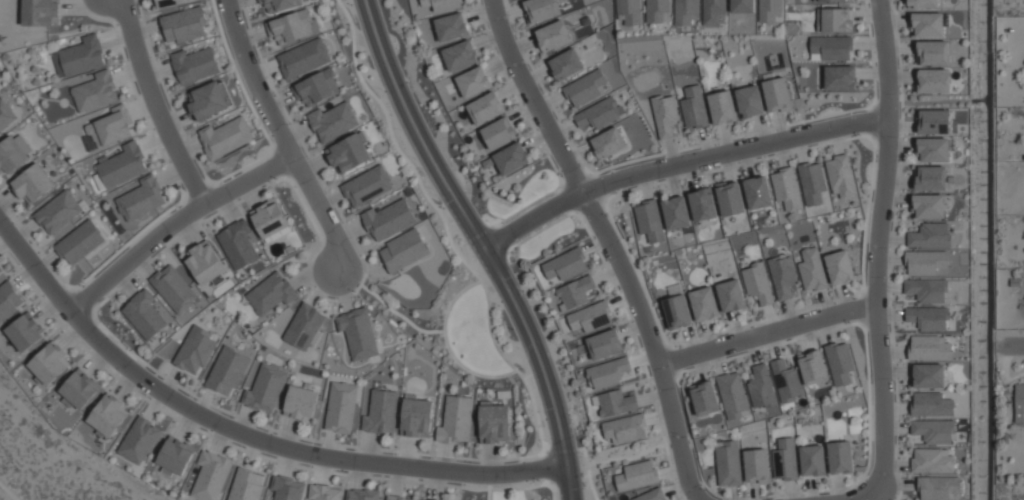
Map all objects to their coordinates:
building: (833, 0)
building: (171, 3)
building: (922, 3)
building: (280, 4)
building: (442, 4)
building: (742, 6)
building: (541, 9)
building: (656, 10)
building: (770, 10)
building: (631, 11)
building: (42, 12)
building: (685, 12)
building: (712, 12)
building: (834, 20)
building: (185, 24)
building: (927, 24)
building: (294, 26)
building: (450, 27)
building: (552, 36)
building: (830, 48)
building: (933, 52)
building: (459, 55)
building: (80, 56)
building: (304, 58)
road: (887, 59)
building: (565, 64)
building: (195, 65)
building: (840, 77)
building: (933, 81)
building: (473, 82)
building: (317, 87)
building: (586, 88)
building: (96, 91)
building: (776, 94)
building: (207, 100)
building: (749, 101)
road: (155, 104)
building: (721, 107)
building: (484, 108)
building: (693, 108)
building: (599, 113)
building: (6, 114)
building: (664, 115)
building: (333, 121)
building: (933, 121)
building: (111, 126)
building: (498, 133)
street lamp: (860, 134)
road: (283, 135)
building: (225, 137)
building: (608, 143)
building: (933, 150)
building: (349, 153)
building: (11, 155)
building: (511, 158)
road: (680, 164)
building: (123, 165)
street lamp: (562, 176)
building: (840, 176)
street lamp: (277, 178)
building: (930, 178)
building: (812, 182)
building: (33, 183)
building: (367, 186)
building: (786, 189)
building: (757, 193)
building: (141, 198)
building: (729, 199)
building: (702, 204)
building: (929, 206)
building: (59, 211)
building: (675, 213)
street lamp: (608, 215)
building: (270, 218)
building: (389, 219)
building: (648, 221)
road: (174, 223)
building: (929, 235)
building: (80, 241)
building: (239, 244)
road: (482, 244)
road: (610, 244)
building: (404, 250)
building: (206, 262)
building: (927, 262)
building: (567, 265)
building: (839, 267)
building: (0, 269)
building: (811, 270)
building: (782, 276)
building: (757, 283)
street lamp: (84, 285)
building: (175, 288)
building: (927, 290)
street lamp: (355, 291)
building: (575, 292)
building: (272, 293)
building: (730, 296)
building: (9, 300)
building: (703, 304)
building: (677, 312)
building: (145, 314)
building: (590, 317)
road: (878, 317)
building: (928, 318)
street lamp: (849, 322)
building: (305, 326)
street lamp: (512, 329)
building: (25, 331)
road: (424, 332)
building: (359, 333)
road: (768, 333)
road: (1014, 343)
building: (604, 344)
street lamp: (681, 347)
building: (928, 348)
street lamp: (132, 349)
building: (196, 350)
building: (840, 362)
building: (50, 363)
building: (814, 367)
building: (227, 370)
building: (607, 372)
building: (928, 376)
building: (79, 389)
building: (265, 389)
building: (790, 390)
building: (734, 396)
building: (762, 396)
building: (706, 398)
building: (301, 402)
building: (616, 403)
building: (1019, 403)
building: (931, 405)
building: (341, 407)
building: (382, 412)
building: (108, 415)
building: (416, 416)
building: (456, 420)
building: (494, 422)
building: (625, 429)
building: (933, 431)
road: (242, 436)
building: (139, 440)
building: (175, 456)
building: (841, 457)
building: (785, 460)
building: (813, 460)
building: (932, 460)
park: (52, 462)
building: (728, 463)
building: (757, 465)
street lamp: (347, 472)
building: (211, 475)
building: (636, 475)
street lamp: (539, 480)
building: (246, 485)
road: (14, 486)
building: (287, 488)
building: (938, 488)
street lamp: (706, 489)
building: (325, 492)
park: (513, 492)
building: (363, 494)
road: (488, 494)
building: (651, 495)
building: (395, 498)

